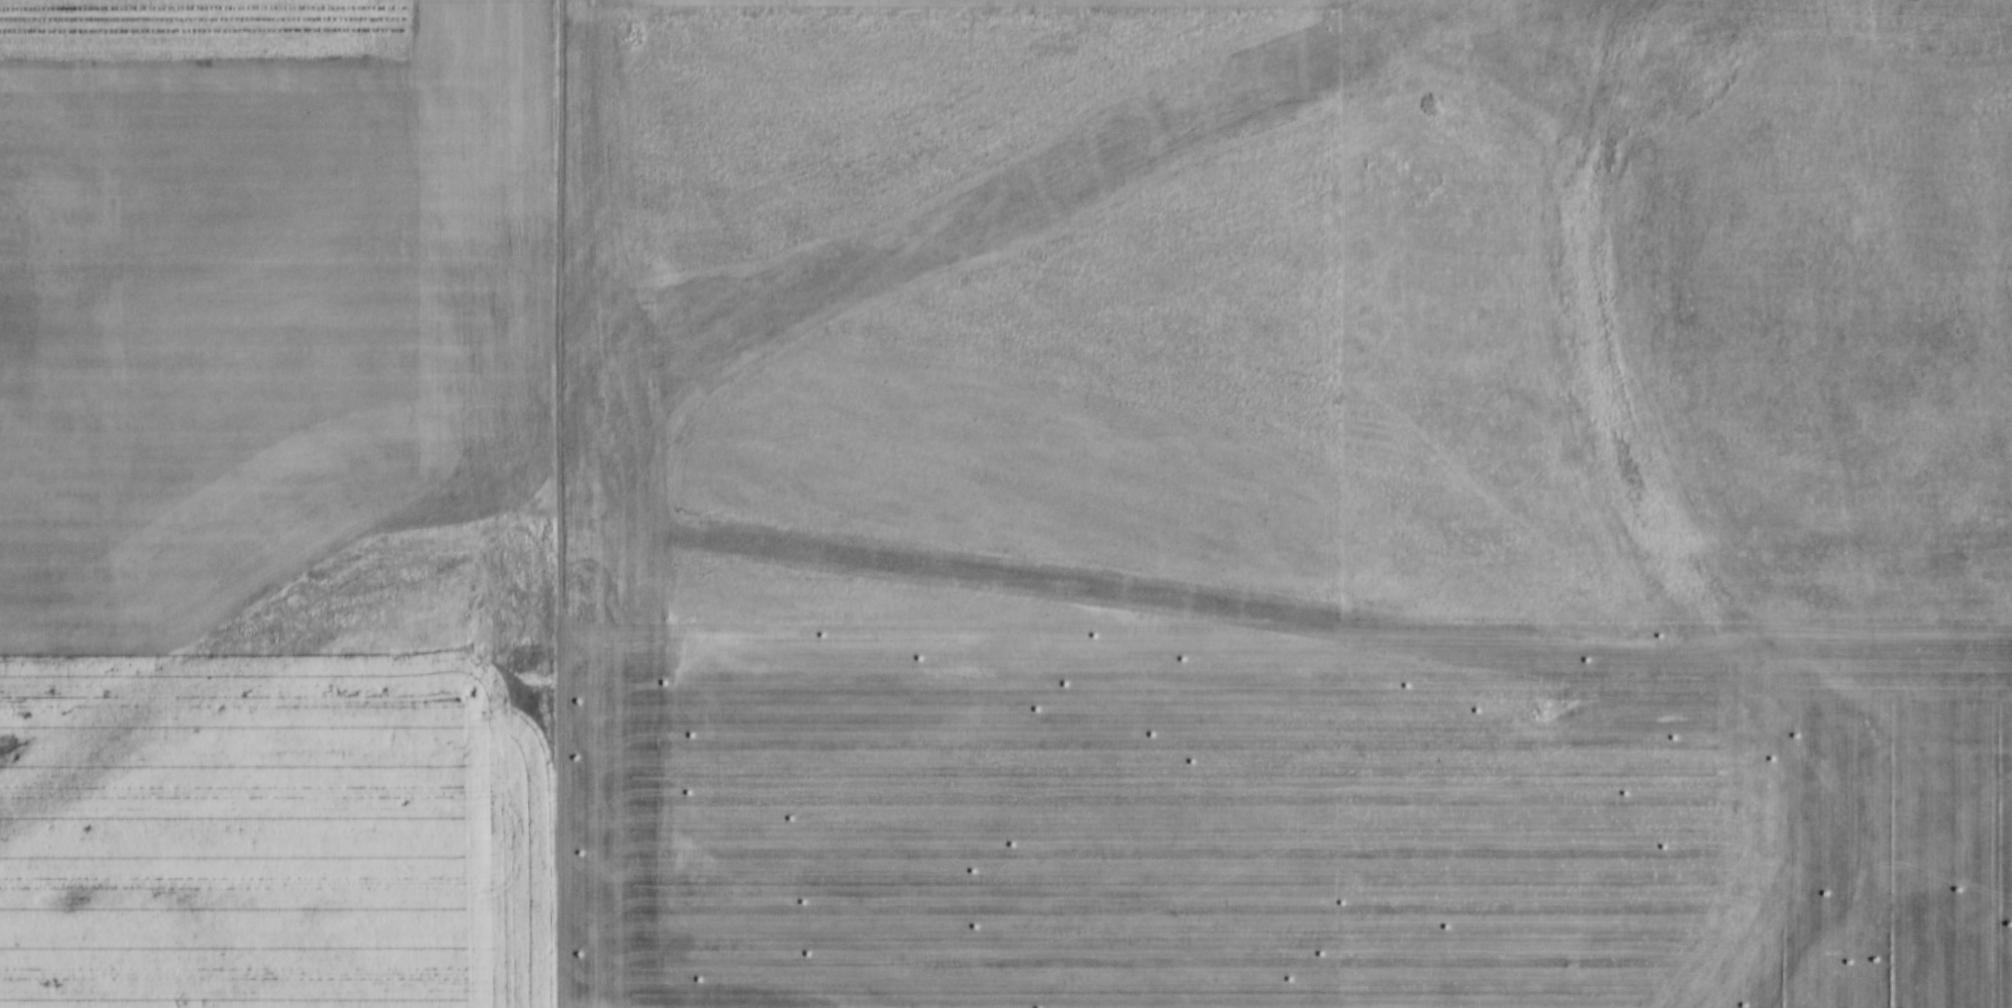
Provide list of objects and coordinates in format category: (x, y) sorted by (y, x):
quarry: (1360, 270)

